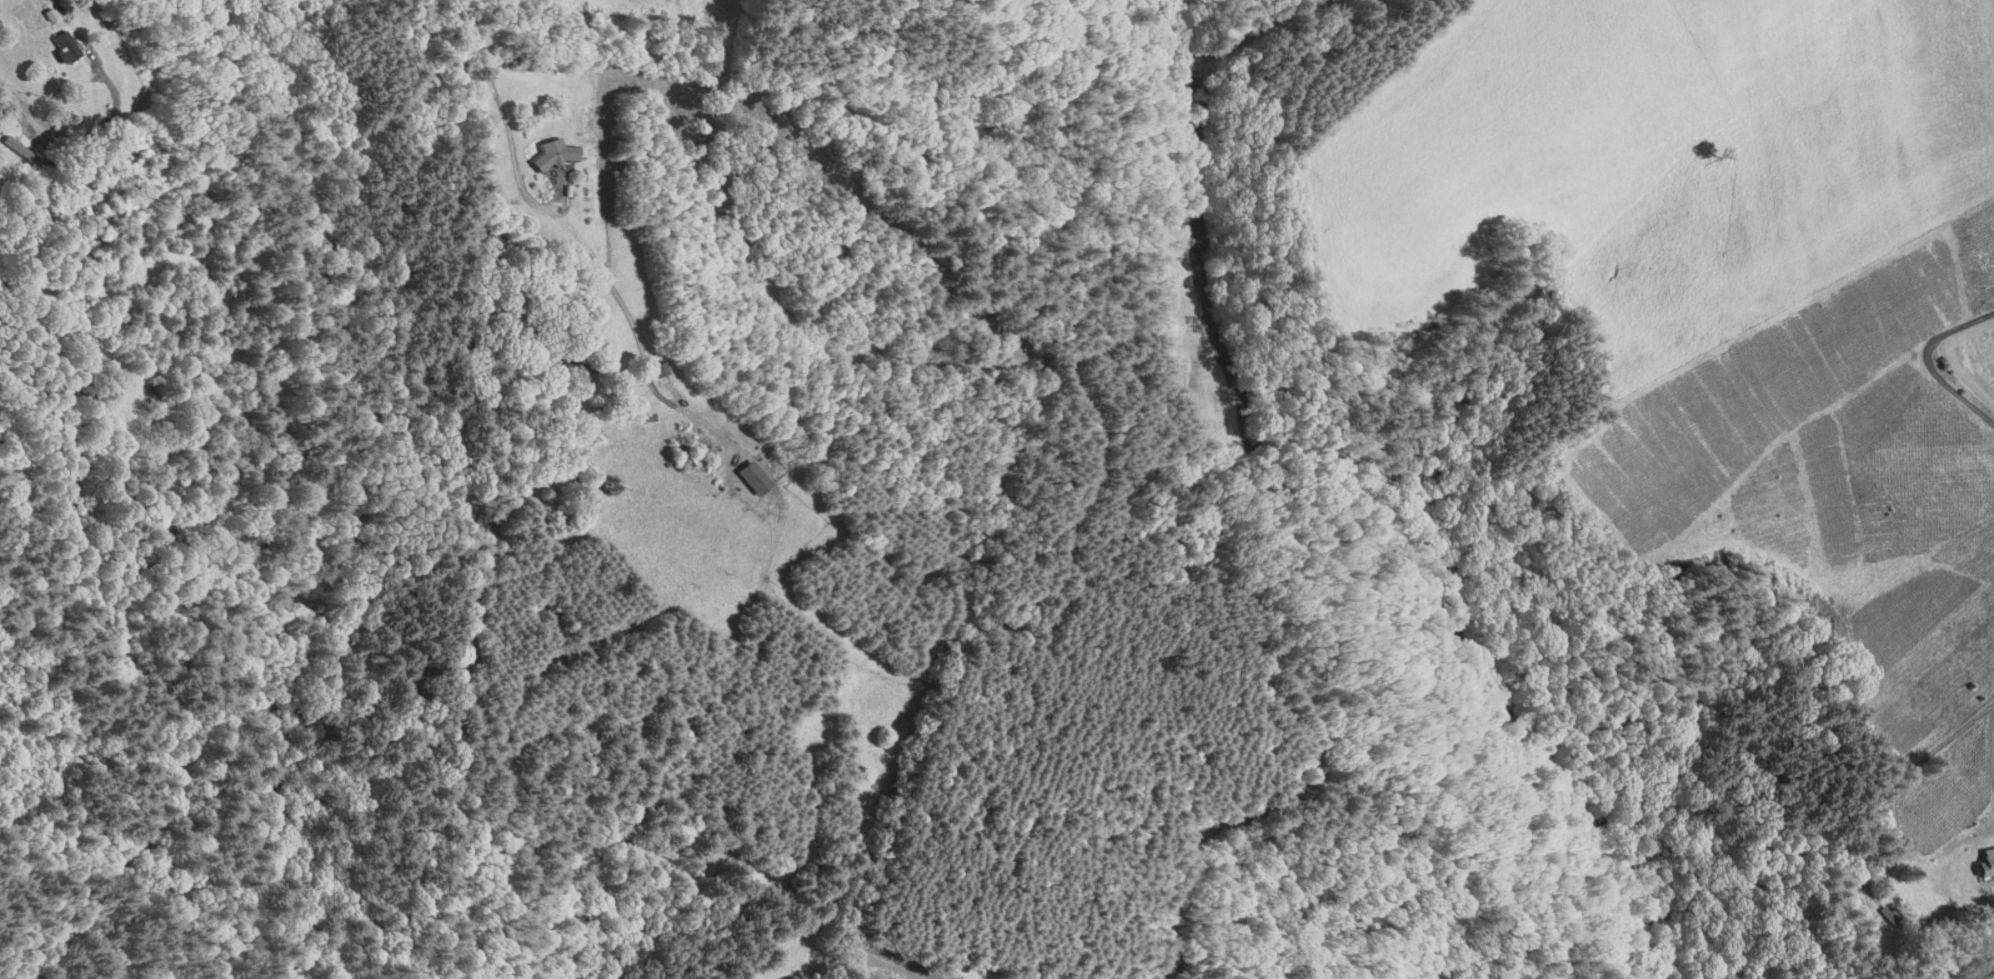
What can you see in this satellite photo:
building: (57, 49)
road: (499, 106)
road: (57, 149)
building: (17, 150)
building: (550, 152)
building: (573, 364)
building: (654, 367)
building: (678, 453)
building: (749, 477)
road: (1954, 944)
road: (1920, 977)

